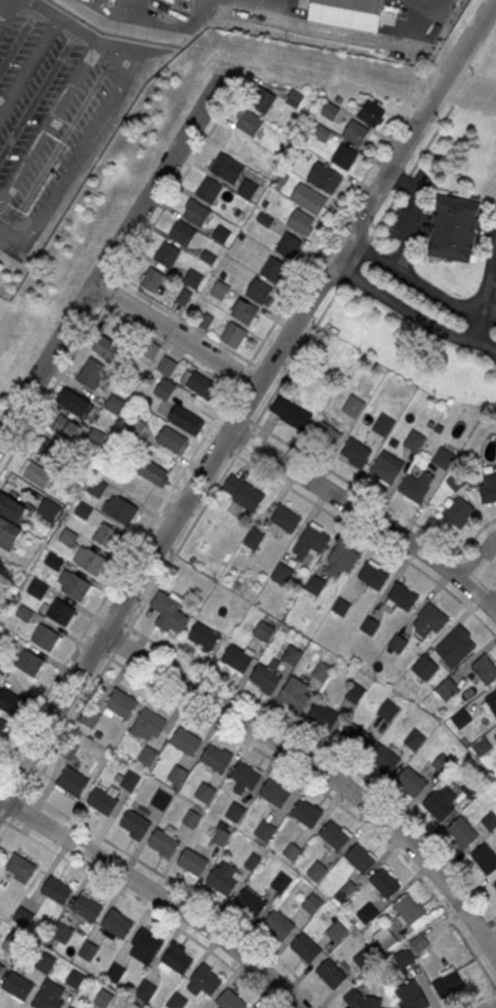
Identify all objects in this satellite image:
road: (136, 2)
road: (429, 5)
park: (485, 62)
road: (87, 96)
building: (295, 99)
building: (263, 101)
building: (331, 111)
road: (394, 113)
building: (371, 114)
building: (251, 123)
building: (356, 132)
building: (322, 133)
road: (431, 138)
building: (238, 144)
building: (345, 157)
building: (261, 167)
building: (227, 168)
road: (182, 178)
building: (325, 178)
road: (405, 181)
building: (248, 189)
building: (210, 190)
building: (308, 199)
building: (197, 213)
road: (385, 214)
park: (90, 219)
building: (300, 222)
building: (454, 227)
building: (183, 233)
building: (221, 235)
building: (289, 246)
road: (114, 250)
building: (168, 254)
road: (355, 261)
building: (274, 270)
building: (193, 279)
building: (152, 280)
road: (418, 281)
building: (219, 290)
building: (259, 292)
road: (110, 293)
road: (486, 296)
road: (410, 311)
building: (246, 312)
road: (174, 335)
building: (234, 335)
building: (107, 348)
building: (151, 349)
road: (295, 356)
building: (167, 366)
building: (94, 373)
building: (201, 384)
road: (52, 388)
building: (164, 391)
road: (246, 399)
building: (74, 402)
building: (115, 405)
building: (353, 406)
building: (290, 413)
road: (244, 415)
building: (186, 420)
building: (383, 425)
building: (136, 427)
building: (67, 428)
building: (326, 435)
road: (245, 438)
building: (172, 440)
building: (414, 441)
road: (200, 442)
road: (225, 446)
building: (52, 452)
building: (356, 452)
building: (444, 459)
building: (386, 471)
building: (154, 473)
building: (36, 474)
building: (68, 483)
road: (358, 487)
building: (97, 488)
building: (488, 488)
building: (413, 489)
building: (243, 494)
building: (11, 508)
building: (49, 509)
building: (84, 511)
building: (123, 511)
building: (458, 513)
road: (365, 516)
building: (286, 519)
road: (476, 534)
road: (368, 535)
building: (108, 536)
building: (68, 538)
building: (254, 539)
road: (182, 540)
building: (311, 542)
building: (0, 557)
road: (478, 559)
building: (343, 560)
building: (93, 562)
road: (475, 565)
building: (282, 575)
building: (373, 576)
road: (490, 578)
building: (76, 586)
building: (315, 586)
building: (39, 590)
building: (402, 596)
road: (493, 605)
building: (341, 607)
building: (61, 613)
building: (173, 619)
road: (118, 620)
building: (430, 620)
building: (371, 626)
building: (204, 636)
building: (45, 638)
road: (119, 642)
building: (398, 644)
building: (455, 647)
road: (99, 651)
building: (293, 655)
building: (237, 659)
building: (30, 663)
building: (0, 664)
building: (425, 668)
building: (485, 669)
building: (322, 672)
building: (265, 678)
building: (447, 690)
building: (355, 693)
building: (295, 694)
building: (10, 702)
building: (492, 702)
building: (122, 704)
building: (388, 710)
building: (323, 716)
building: (90, 718)
building: (150, 722)
road: (69, 724)
building: (3, 727)
building: (355, 738)
building: (414, 740)
building: (186, 742)
building: (69, 750)
road: (326, 752)
building: (149, 756)
building: (383, 757)
building: (216, 759)
building: (442, 764)
road: (320, 770)
building: (177, 775)
building: (246, 776)
building: (72, 781)
building: (130, 781)
building: (411, 782)
road: (17, 784)
road: (325, 792)
building: (205, 793)
building: (275, 794)
building: (161, 800)
building: (102, 802)
building: (438, 806)
road: (18, 807)
building: (236, 813)
building: (307, 814)
road: (1, 818)
building: (191, 819)
building: (135, 824)
road: (6, 826)
building: (265, 832)
building: (462, 832)
building: (220, 836)
building: (335, 836)
building: (163, 844)
building: (291, 852)
building: (361, 858)
building: (485, 859)
building: (193, 862)
building: (20, 868)
building: (316, 872)
building: (221, 881)
building: (281, 883)
building: (385, 883)
road: (182, 886)
building: (495, 886)
building: (57, 891)
road: (155, 895)
building: (252, 903)
building: (312, 904)
road: (144, 906)
building: (87, 908)
building: (409, 909)
building: (23, 917)
building: (117, 924)
building: (279, 925)
building: (60, 932)
building: (335, 935)
building: (383, 938)
building: (147, 942)
building: (419, 944)
building: (14, 946)
building: (306, 948)
building: (88, 951)
building: (404, 958)
building: (363, 959)
building: (177, 960)
building: (45, 964)
building: (1, 969)
building: (115, 973)
building: (331, 975)
building: (75, 980)
building: (206, 981)
building: (17, 986)
building: (448, 986)
building: (145, 991)
building: (410, 996)
building: (103, 999)
road: (478, 999)
building: (230, 1000)
building: (47, 1001)
building: (367, 1001)
building: (177, 1002)
building: (69, 1007)
road: (494, 1007)

